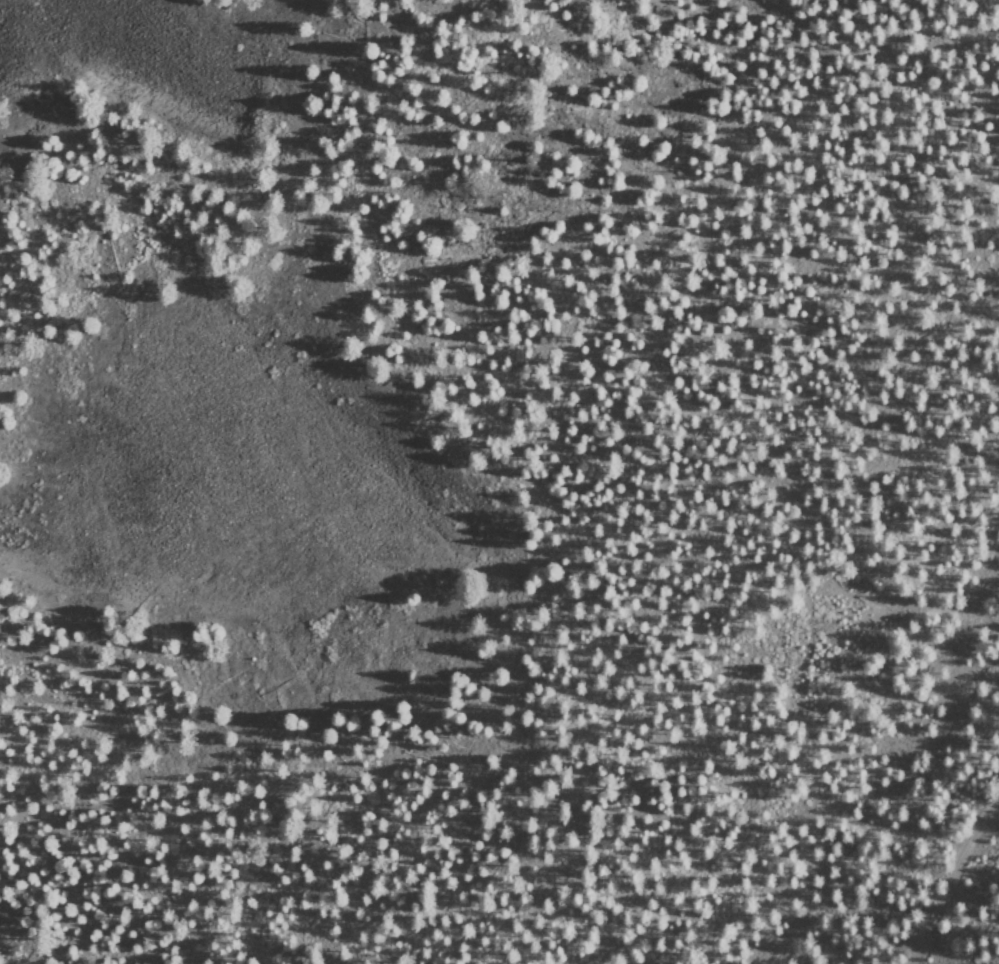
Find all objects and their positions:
road: (723, 580)
road: (952, 879)

